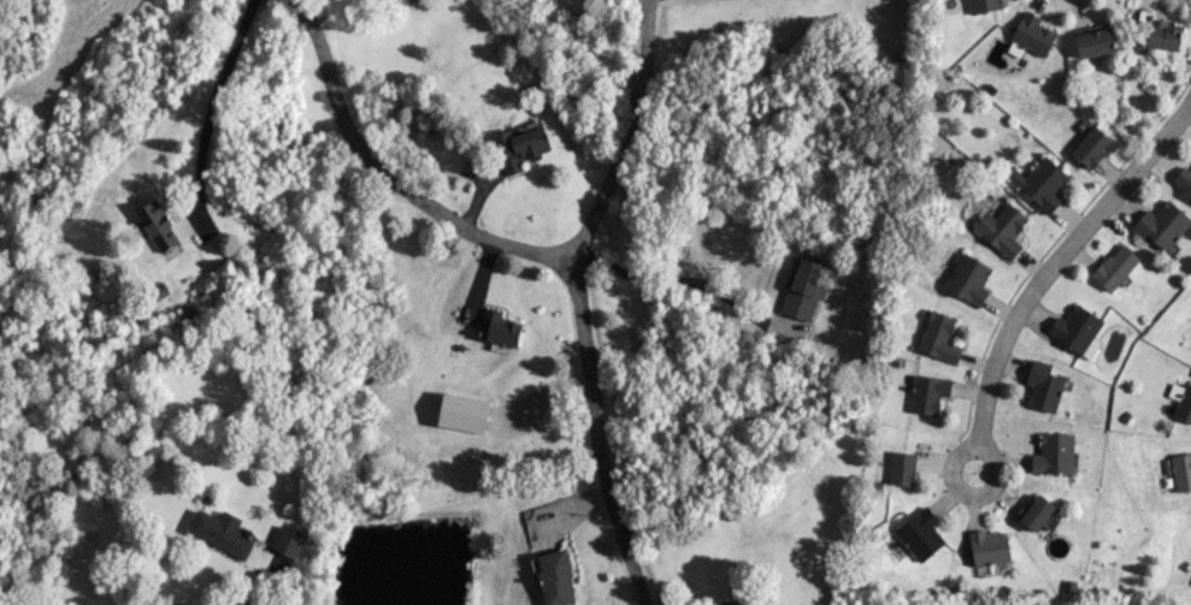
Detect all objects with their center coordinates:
building: (983, 5)
building: (1031, 36)
building: (1161, 37)
building: (1093, 42)
road: (211, 105)
road: (624, 140)
building: (1091, 147)
building: (519, 148)
building: (1184, 180)
building: (1040, 183)
building: (1162, 225)
building: (158, 226)
building: (1002, 229)
road: (1053, 255)
road: (533, 256)
building: (1115, 267)
building: (967, 279)
road: (682, 281)
building: (802, 289)
building: (499, 328)
building: (1077, 330)
building: (938, 338)
building: (1042, 386)
building: (927, 393)
building: (1180, 401)
building: (461, 413)
building: (1054, 455)
building: (901, 468)
building: (1181, 471)
road: (981, 492)
building: (1034, 511)
building: (920, 534)
building: (220, 535)
building: (288, 542)
building: (989, 547)
building: (992, 569)
building: (555, 577)
road: (259, 586)
building: (735, 603)

